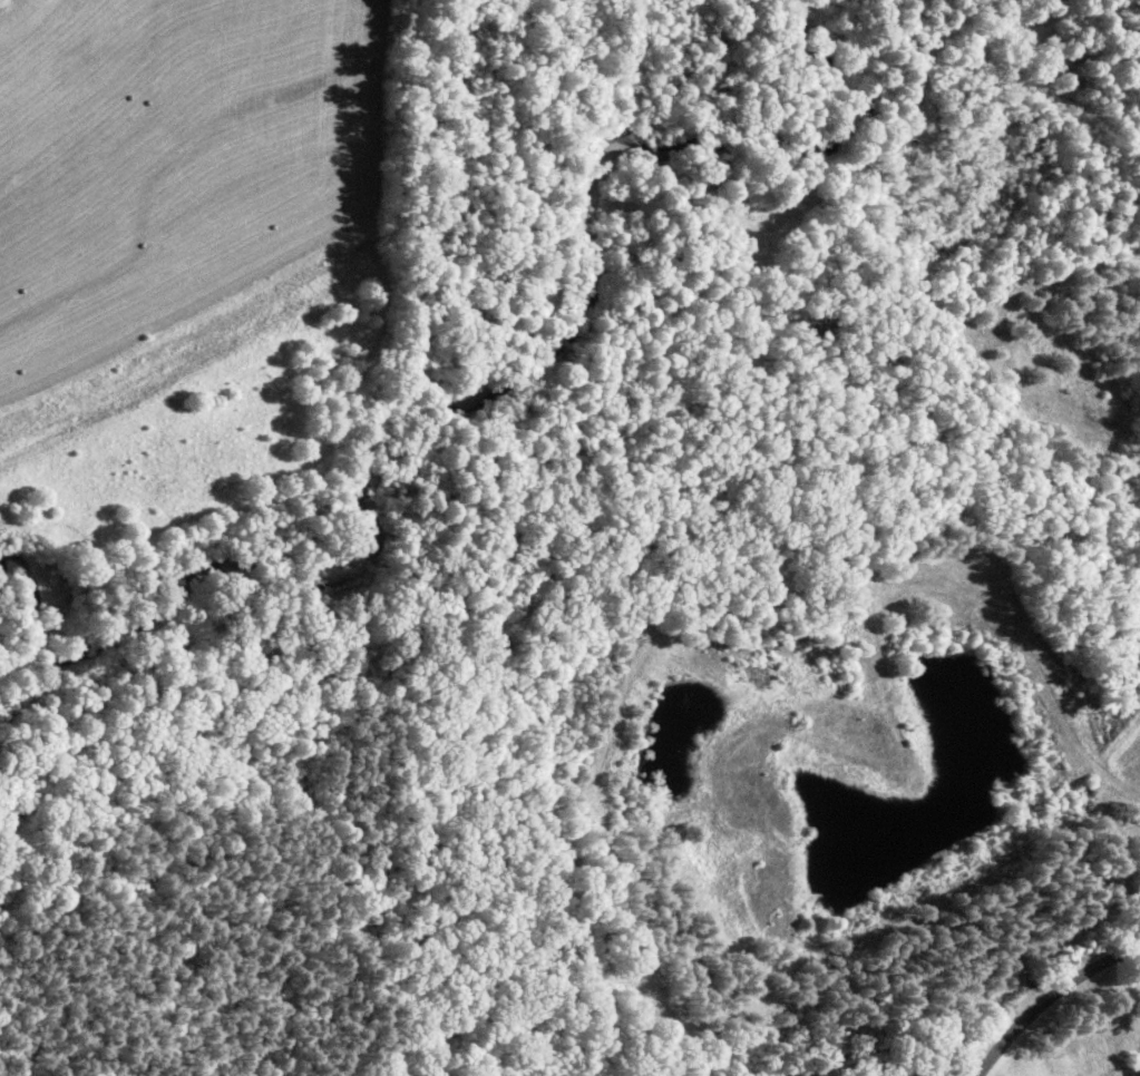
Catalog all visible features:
building: (831, 563)
road: (1014, 962)

